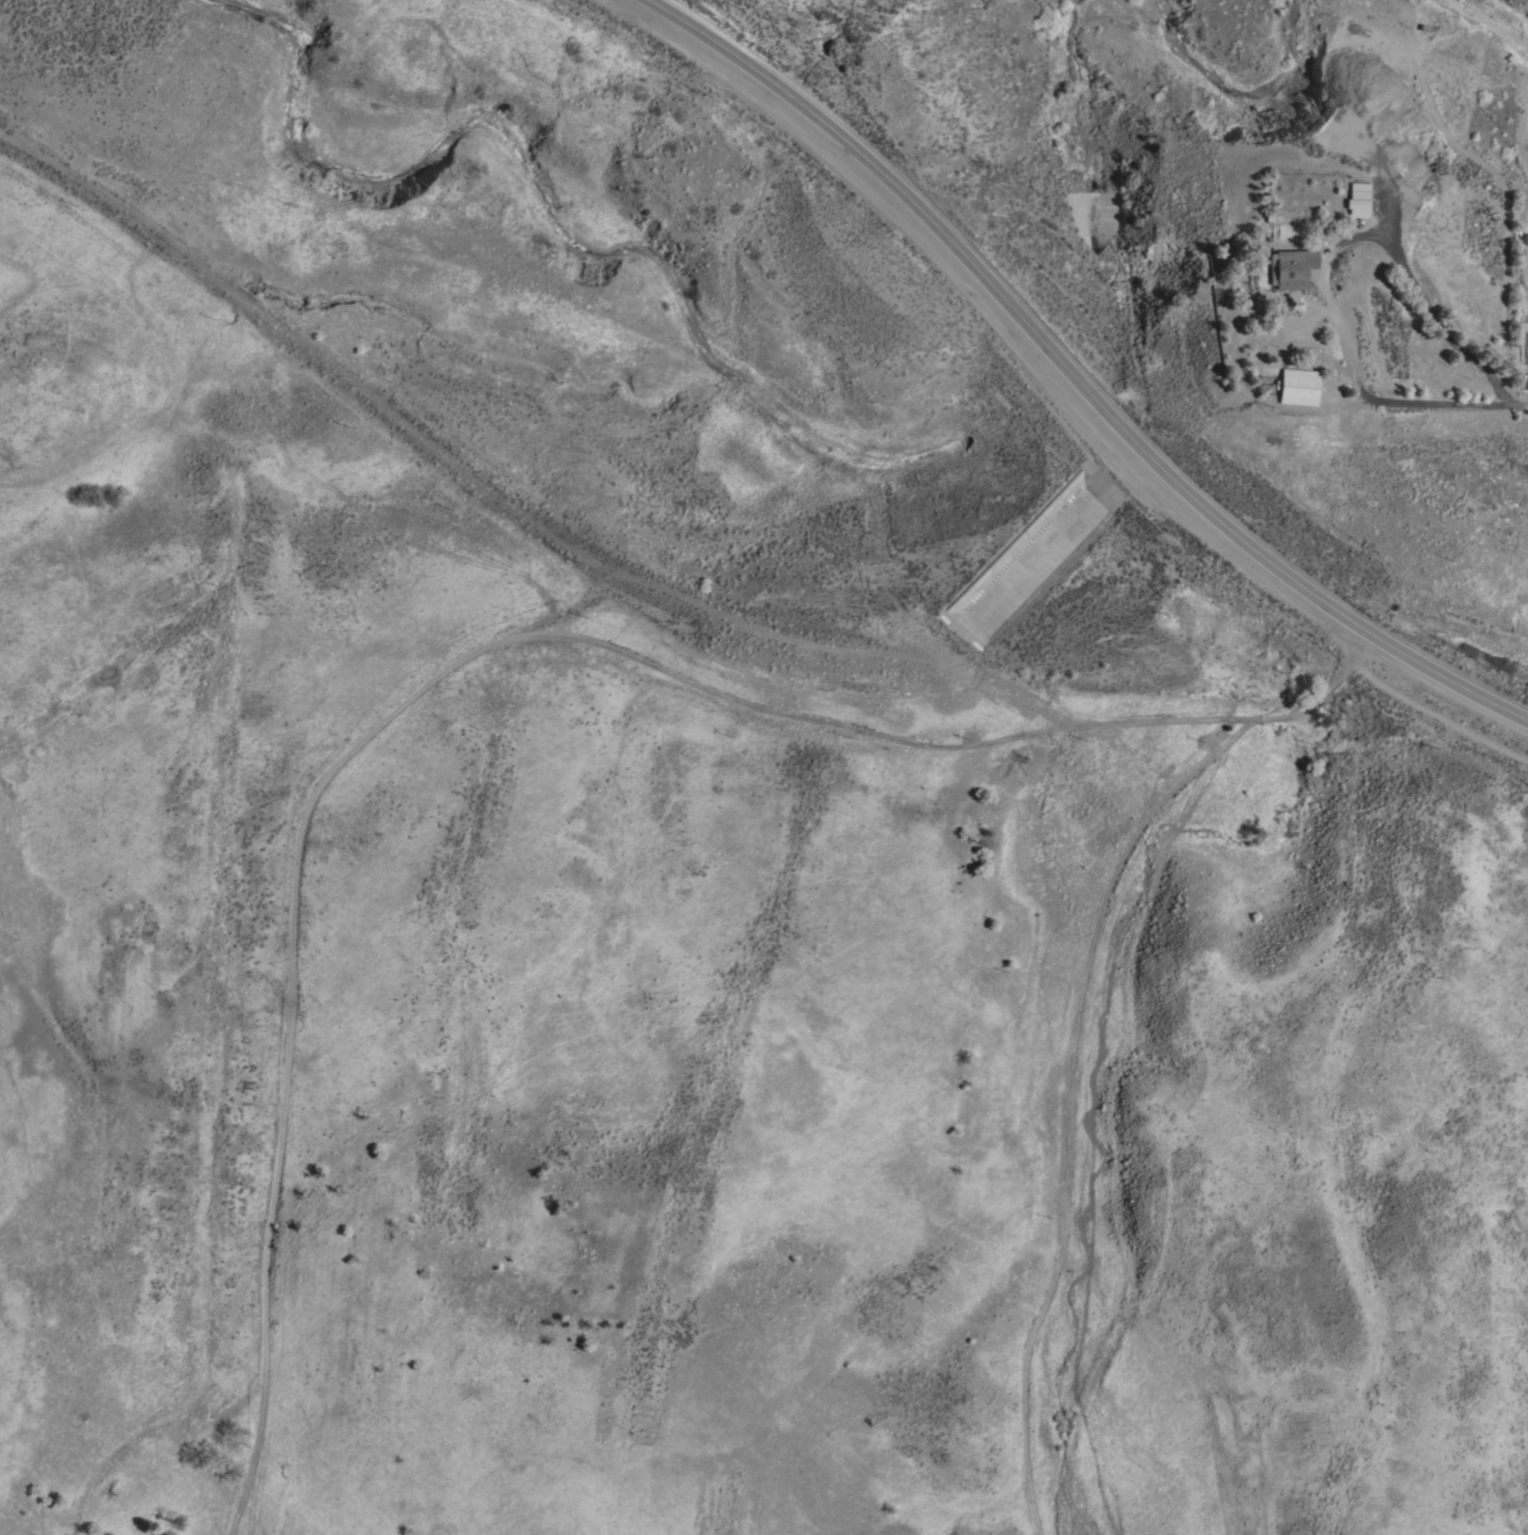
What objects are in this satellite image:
building: (1358, 199)
road: (1323, 265)
building: (1290, 267)
road: (1071, 376)
building: (1298, 386)
road: (1520, 408)
road: (1079, 1021)

